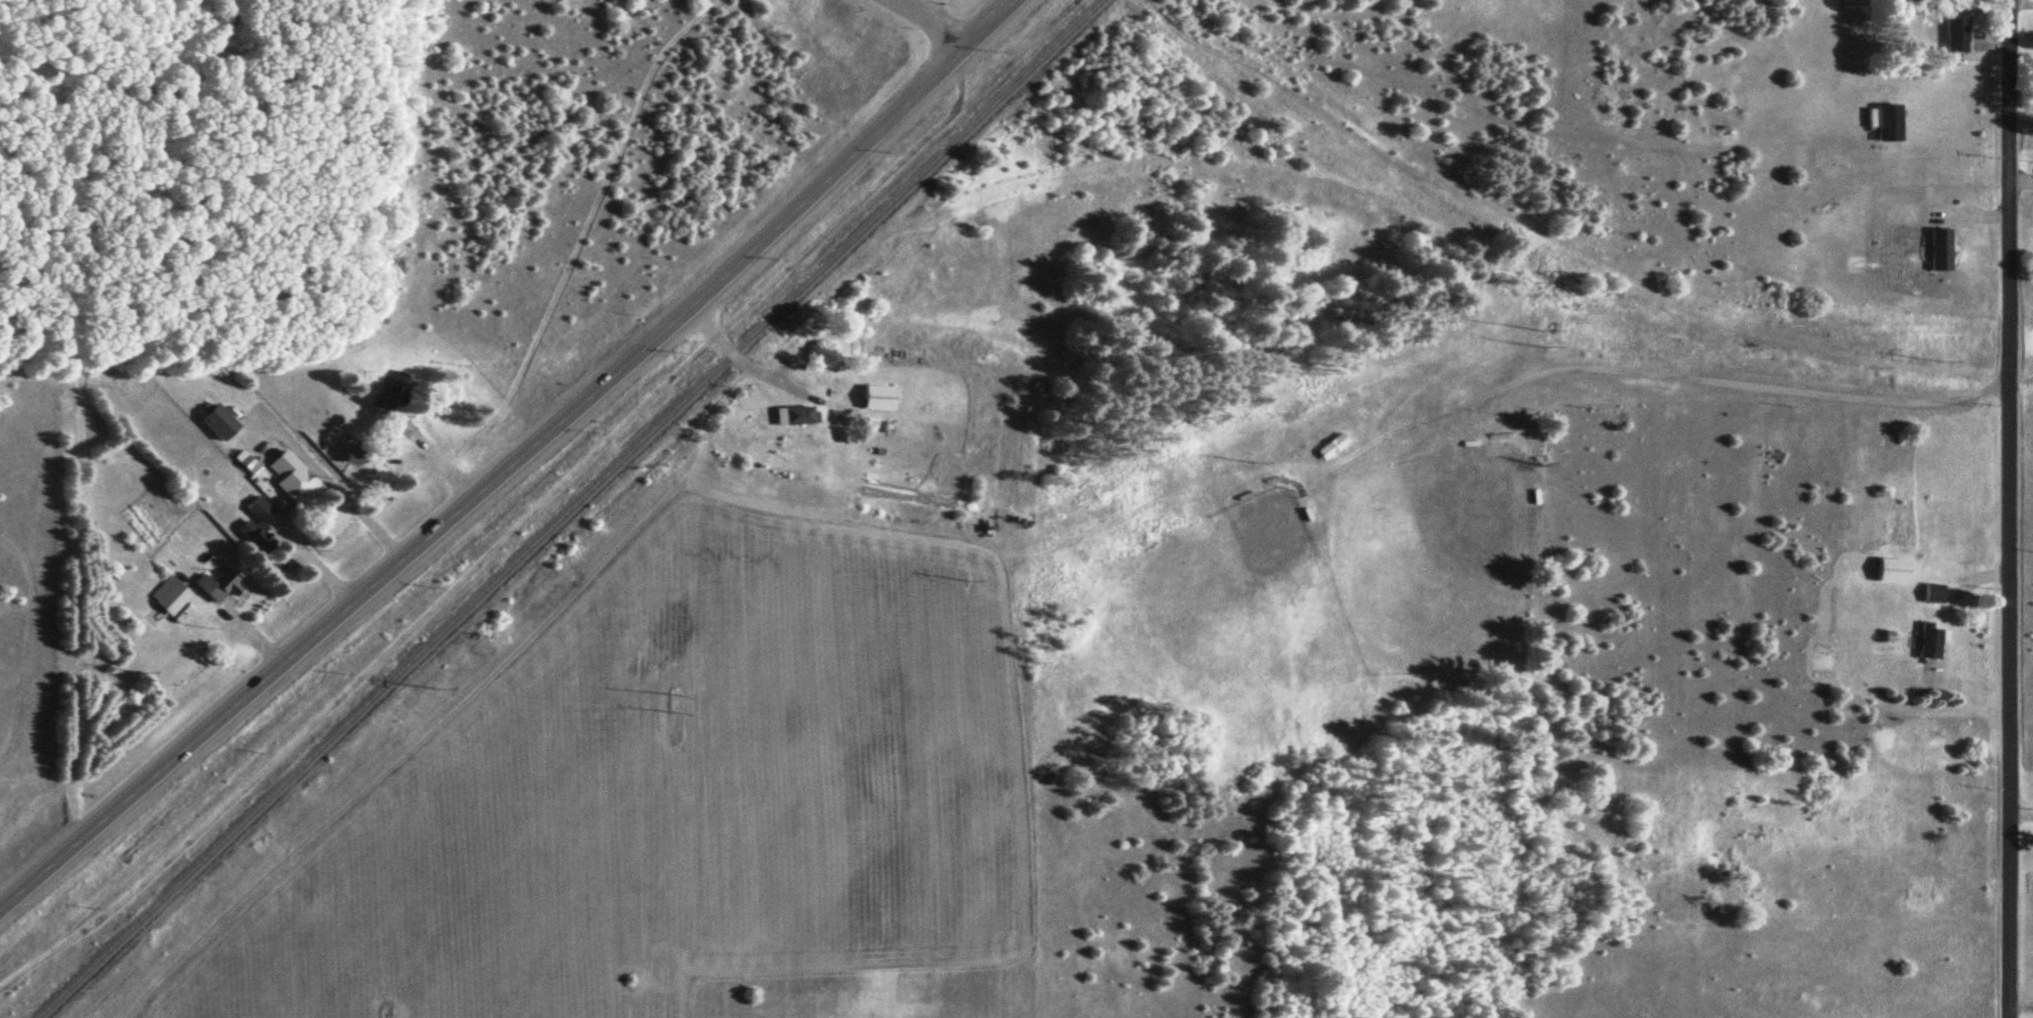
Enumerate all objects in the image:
road: (933, 21)
building: (1955, 31)
building: (1887, 122)
building: (1938, 250)
road: (742, 364)
road: (1698, 379)
building: (391, 394)
building: (878, 396)
building: (795, 414)
building: (218, 424)
building: (1331, 447)
building: (354, 456)
road: (512, 461)
building: (290, 477)
road: (536, 498)
road: (2005, 508)
railway: (568, 509)
building: (256, 526)
building: (1891, 570)
road: (1973, 578)
building: (219, 584)
building: (1932, 592)
building: (169, 596)
park: (1240, 598)
building: (1927, 641)
road: (2019, 818)
road: (2019, 1008)

